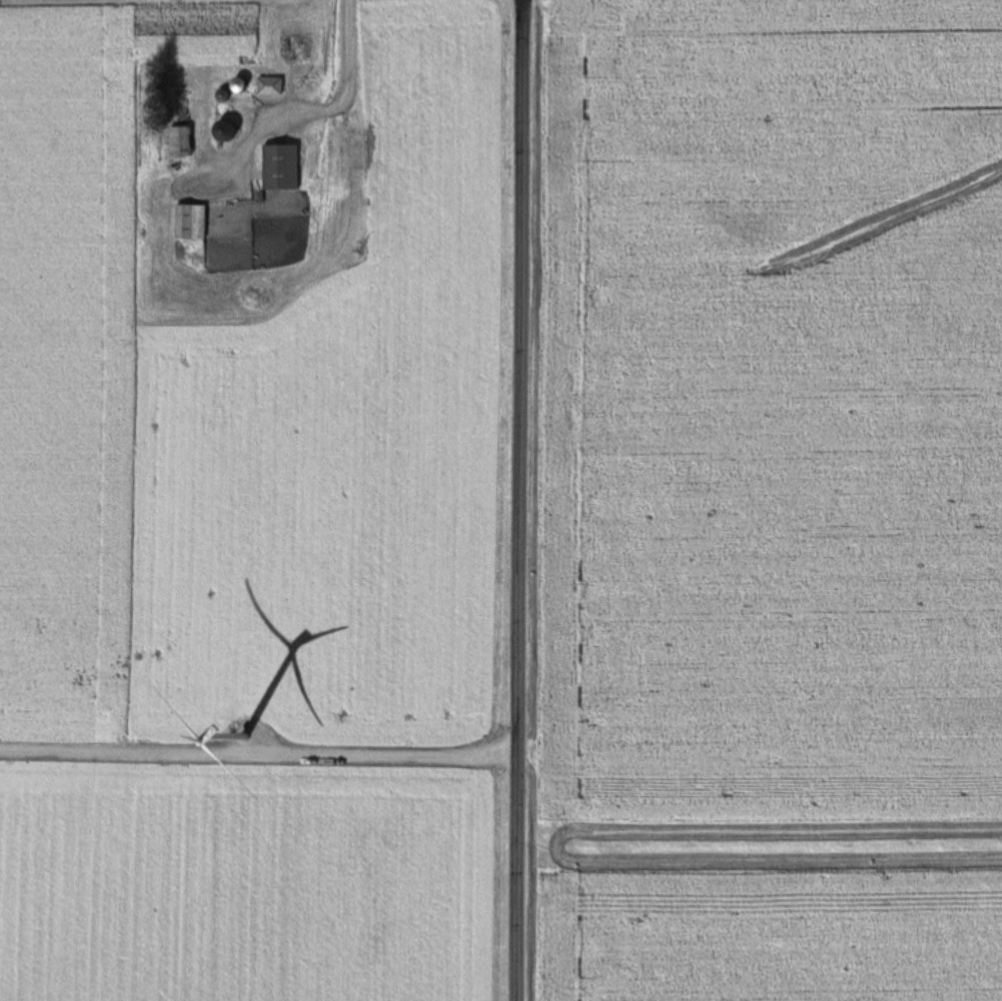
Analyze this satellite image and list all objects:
building: (268, 87)
building: (179, 142)
building: (349, 148)
building: (280, 168)
building: (189, 222)
building: (189, 252)
road: (525, 500)
wind turbine: (271, 763)

